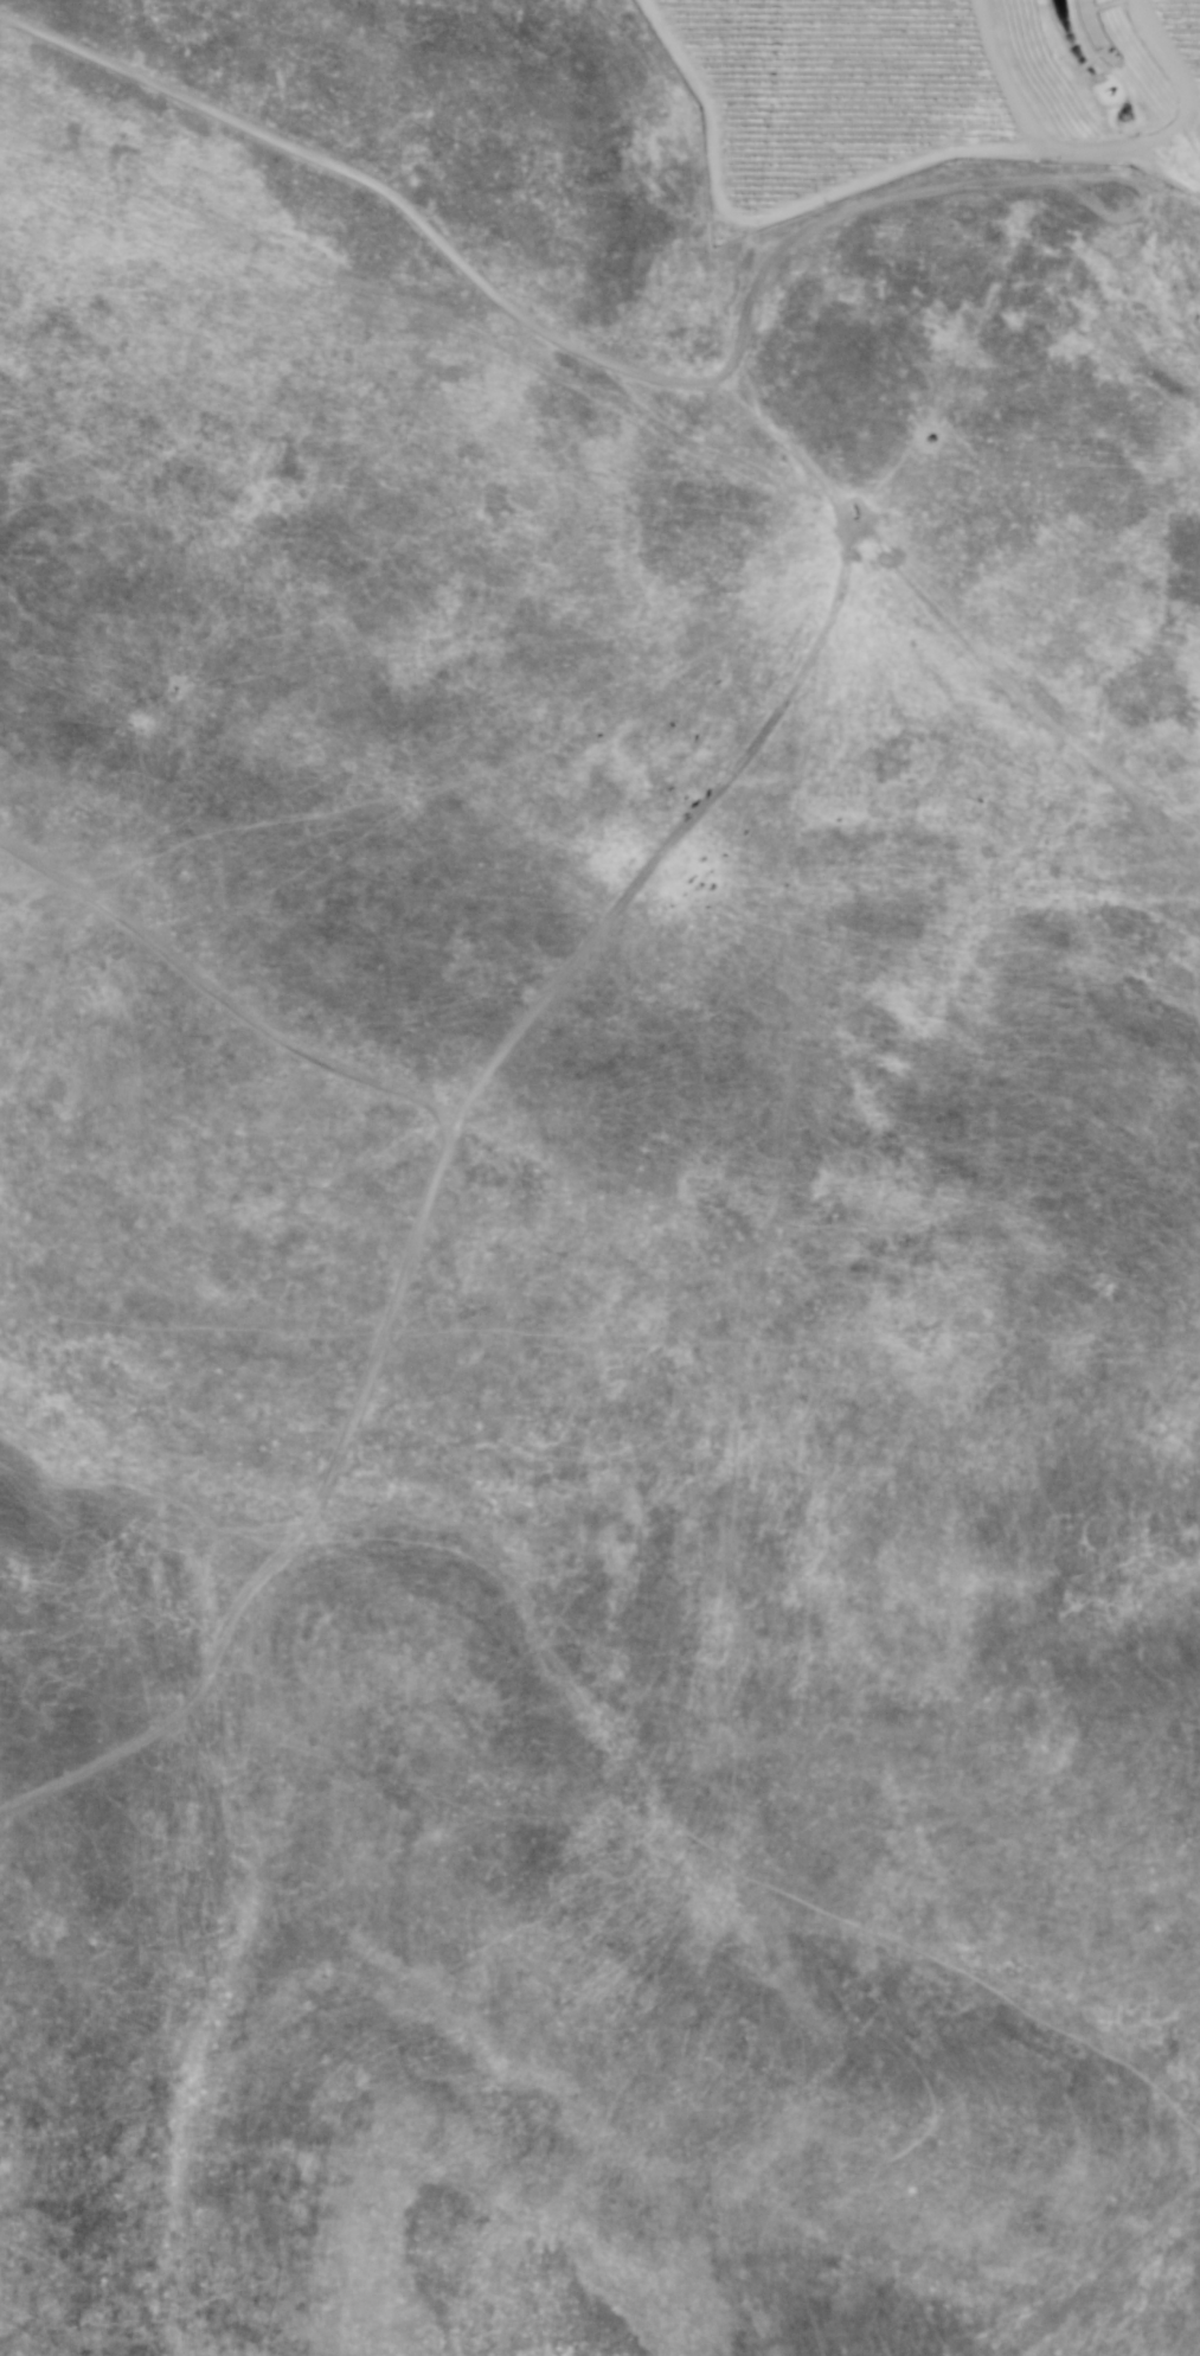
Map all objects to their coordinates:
road: (1167, 56)
road: (1005, 75)
road: (1162, 137)
road: (842, 193)
road: (604, 359)
road: (404, 1285)

